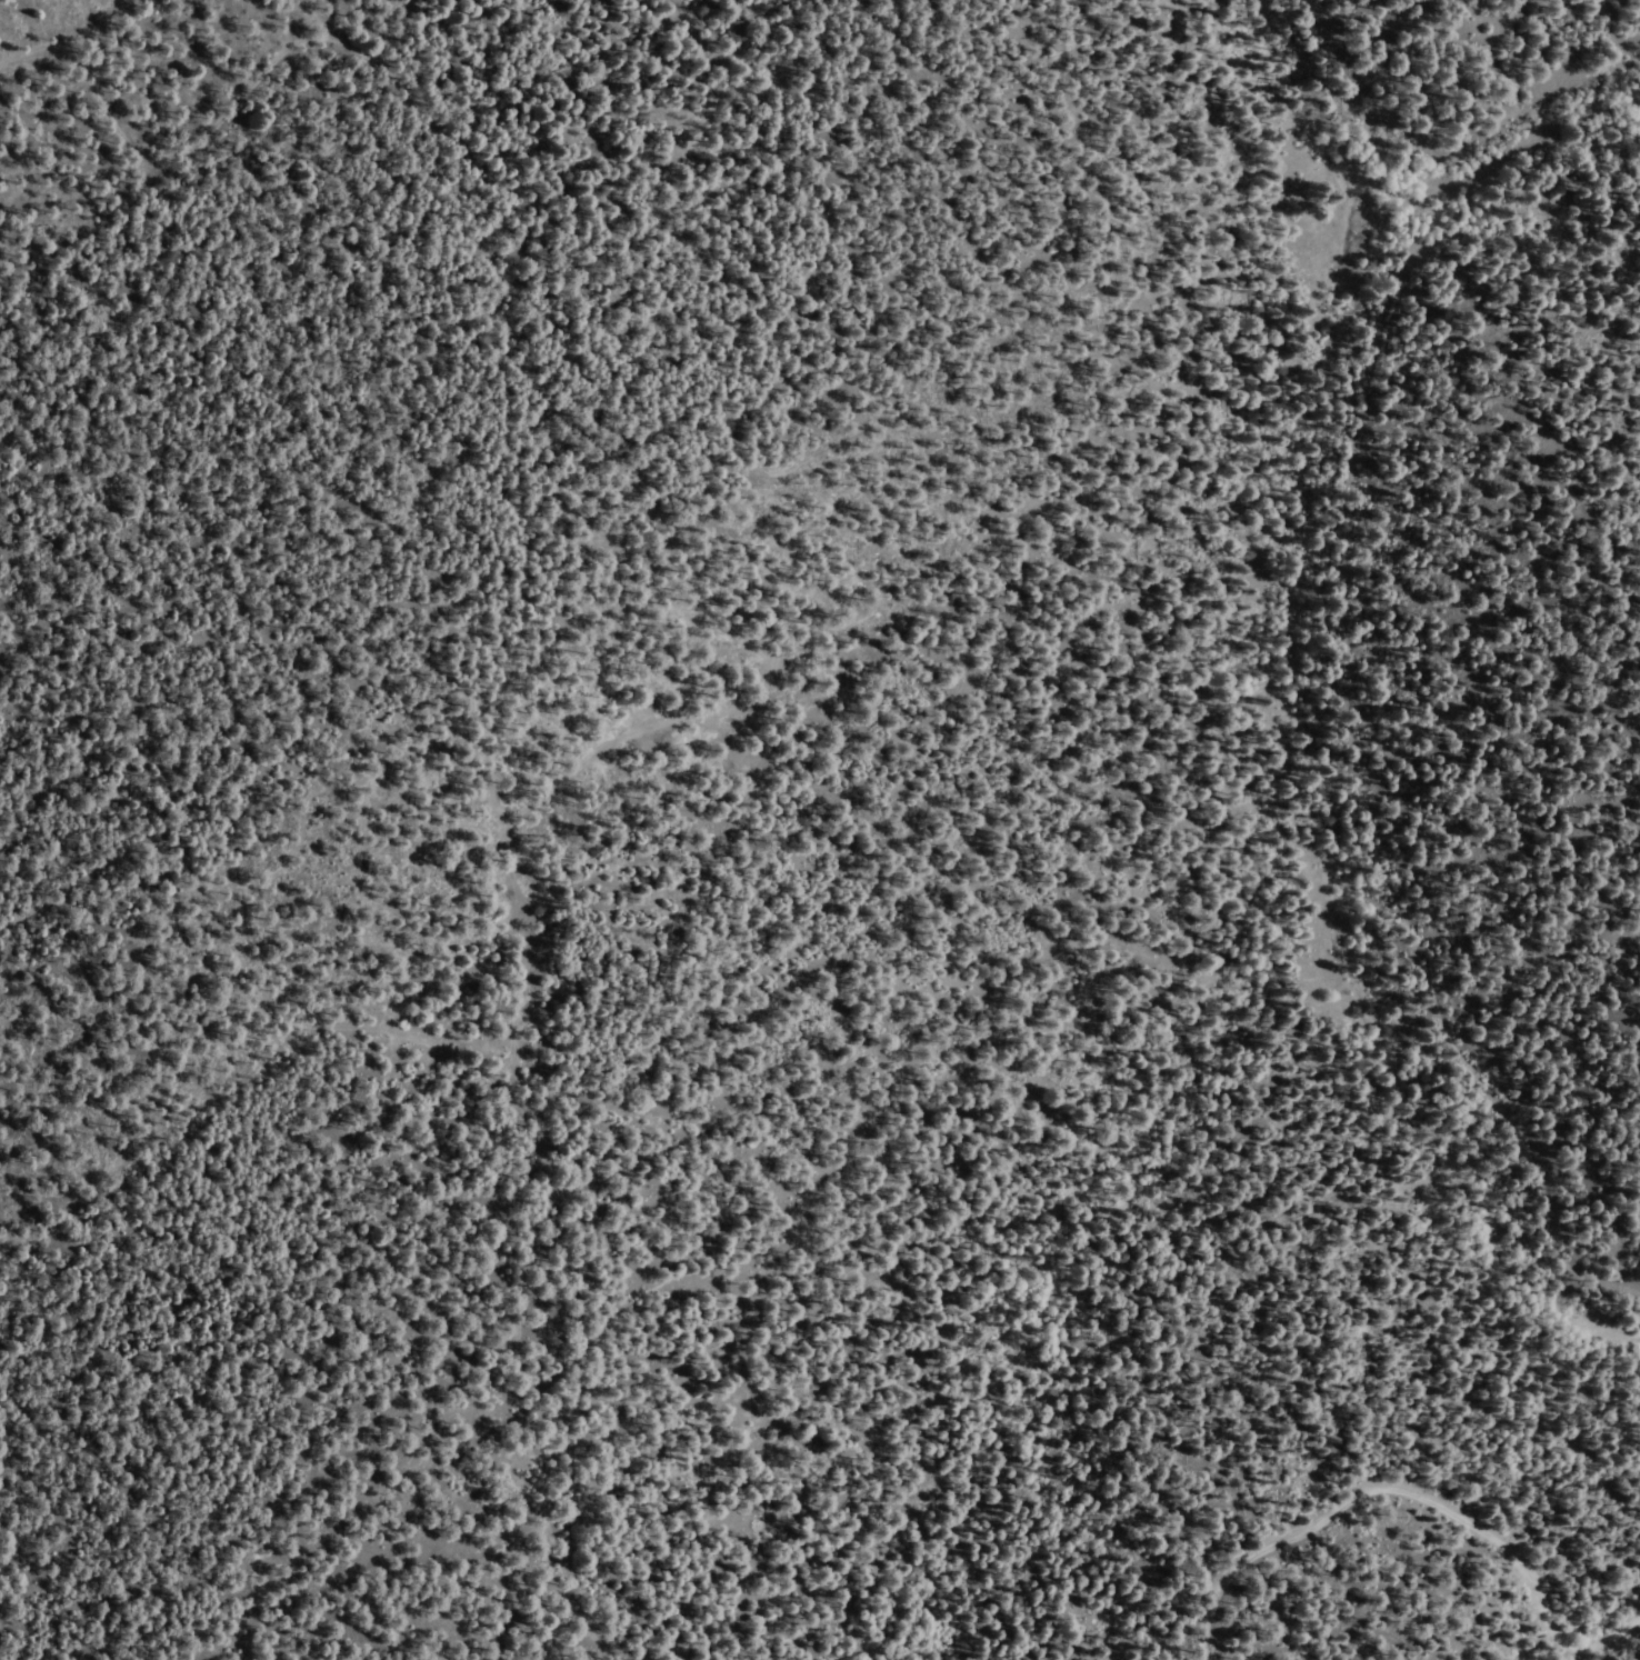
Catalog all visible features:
road: (528, 811)
road: (1379, 1484)
road: (1603, 1646)

